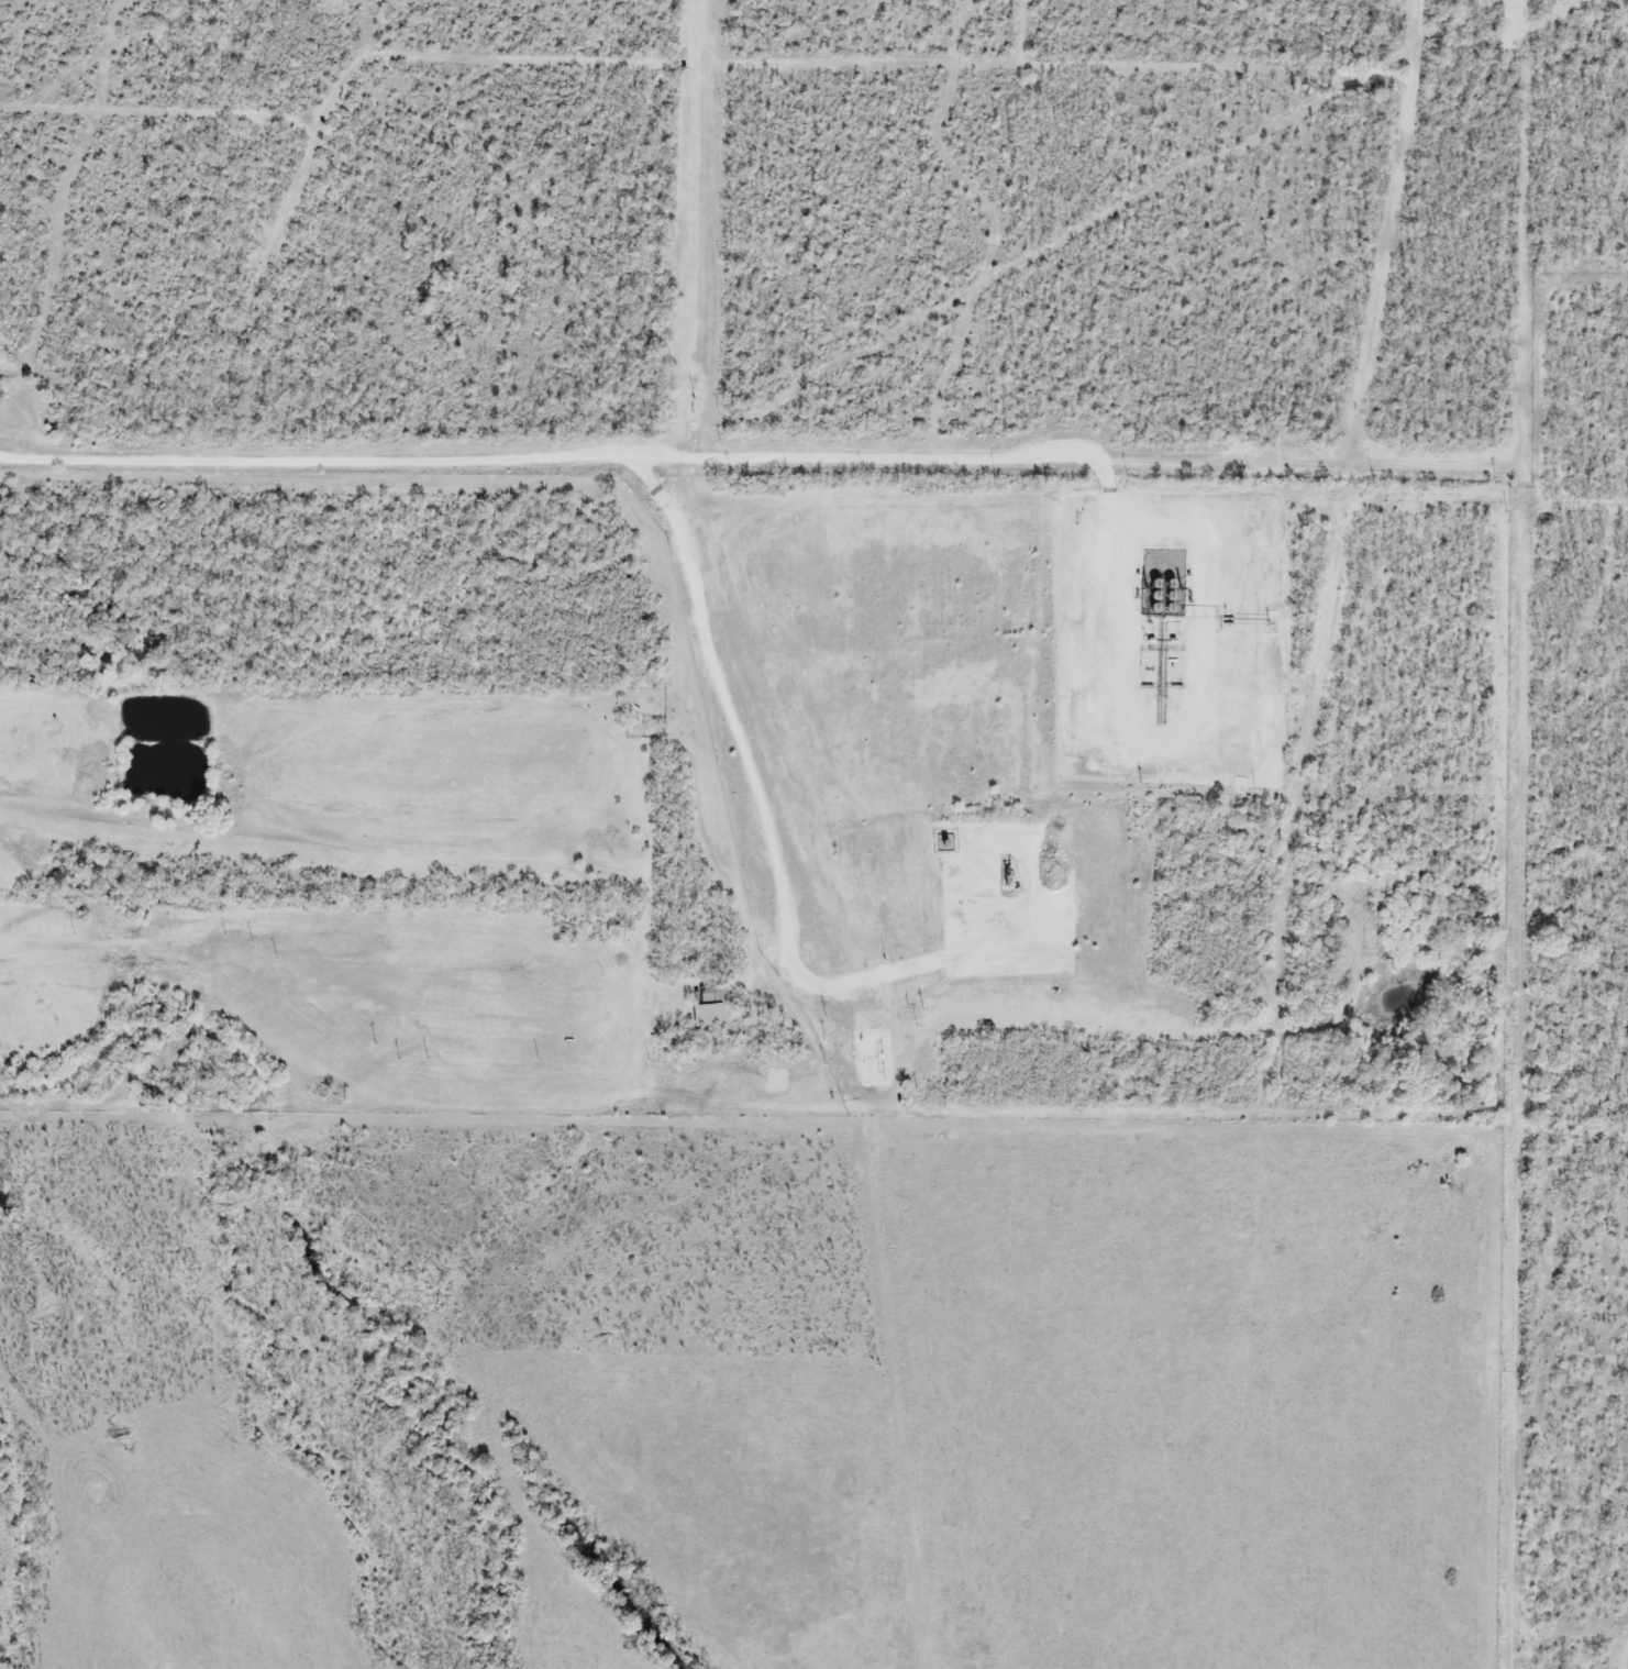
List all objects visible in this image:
road: (761, 455)
road: (186, 466)
road: (763, 799)
building: (712, 994)
building: (707, 1017)

